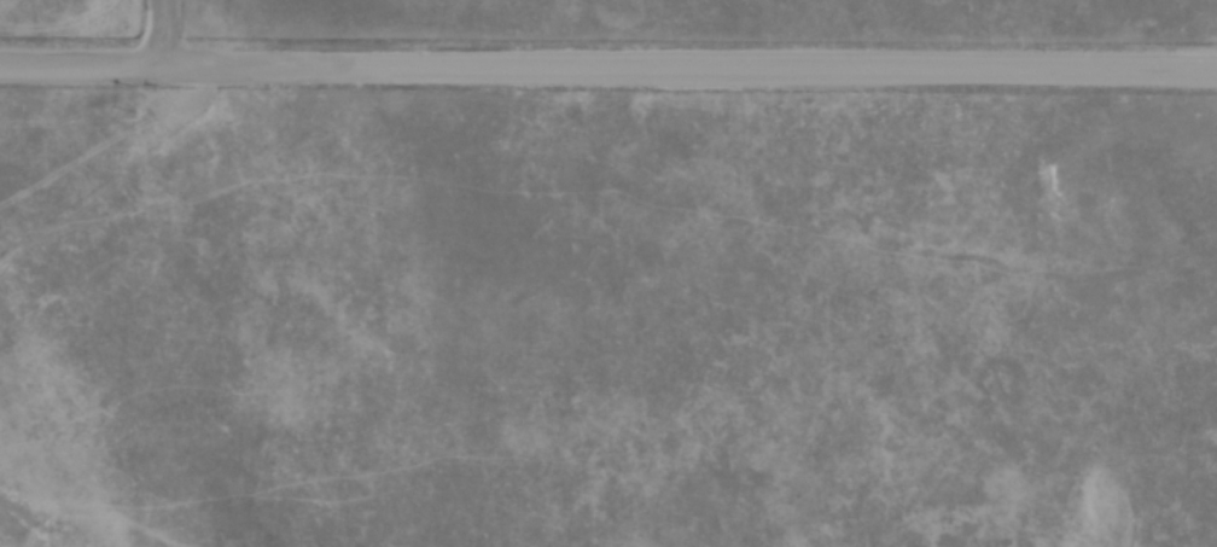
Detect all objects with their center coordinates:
road: (608, 65)

